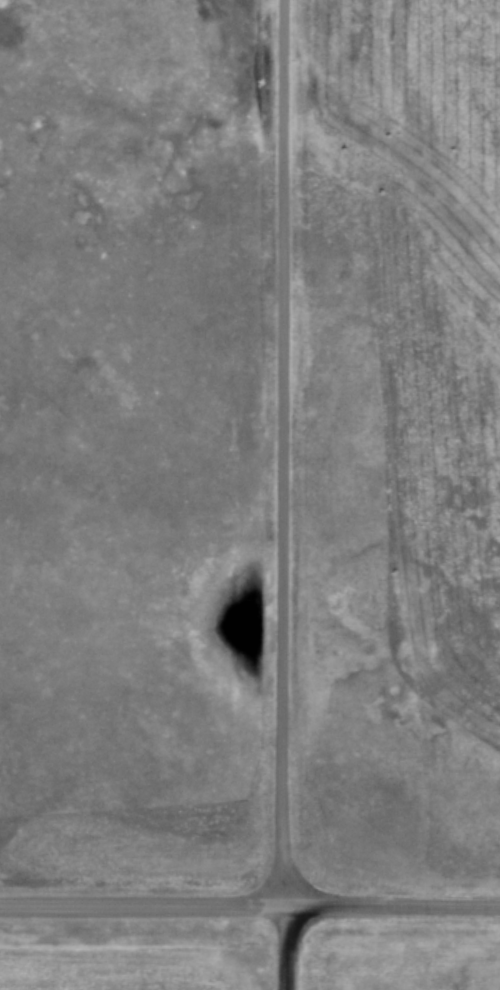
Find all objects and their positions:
road: (284, 454)
road: (141, 907)
road: (391, 907)
road: (282, 949)

